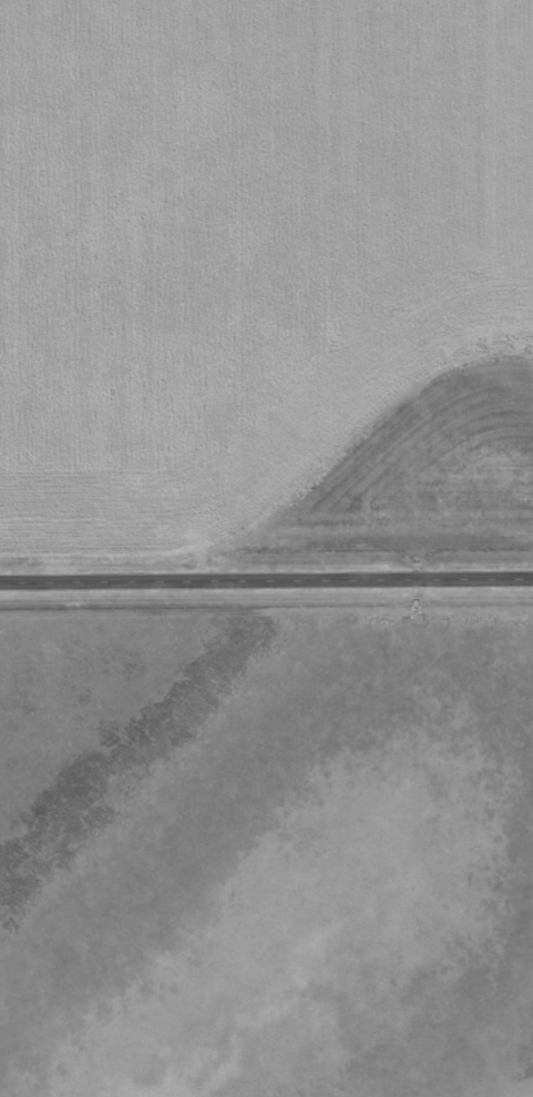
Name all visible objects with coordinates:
road: (266, 581)

